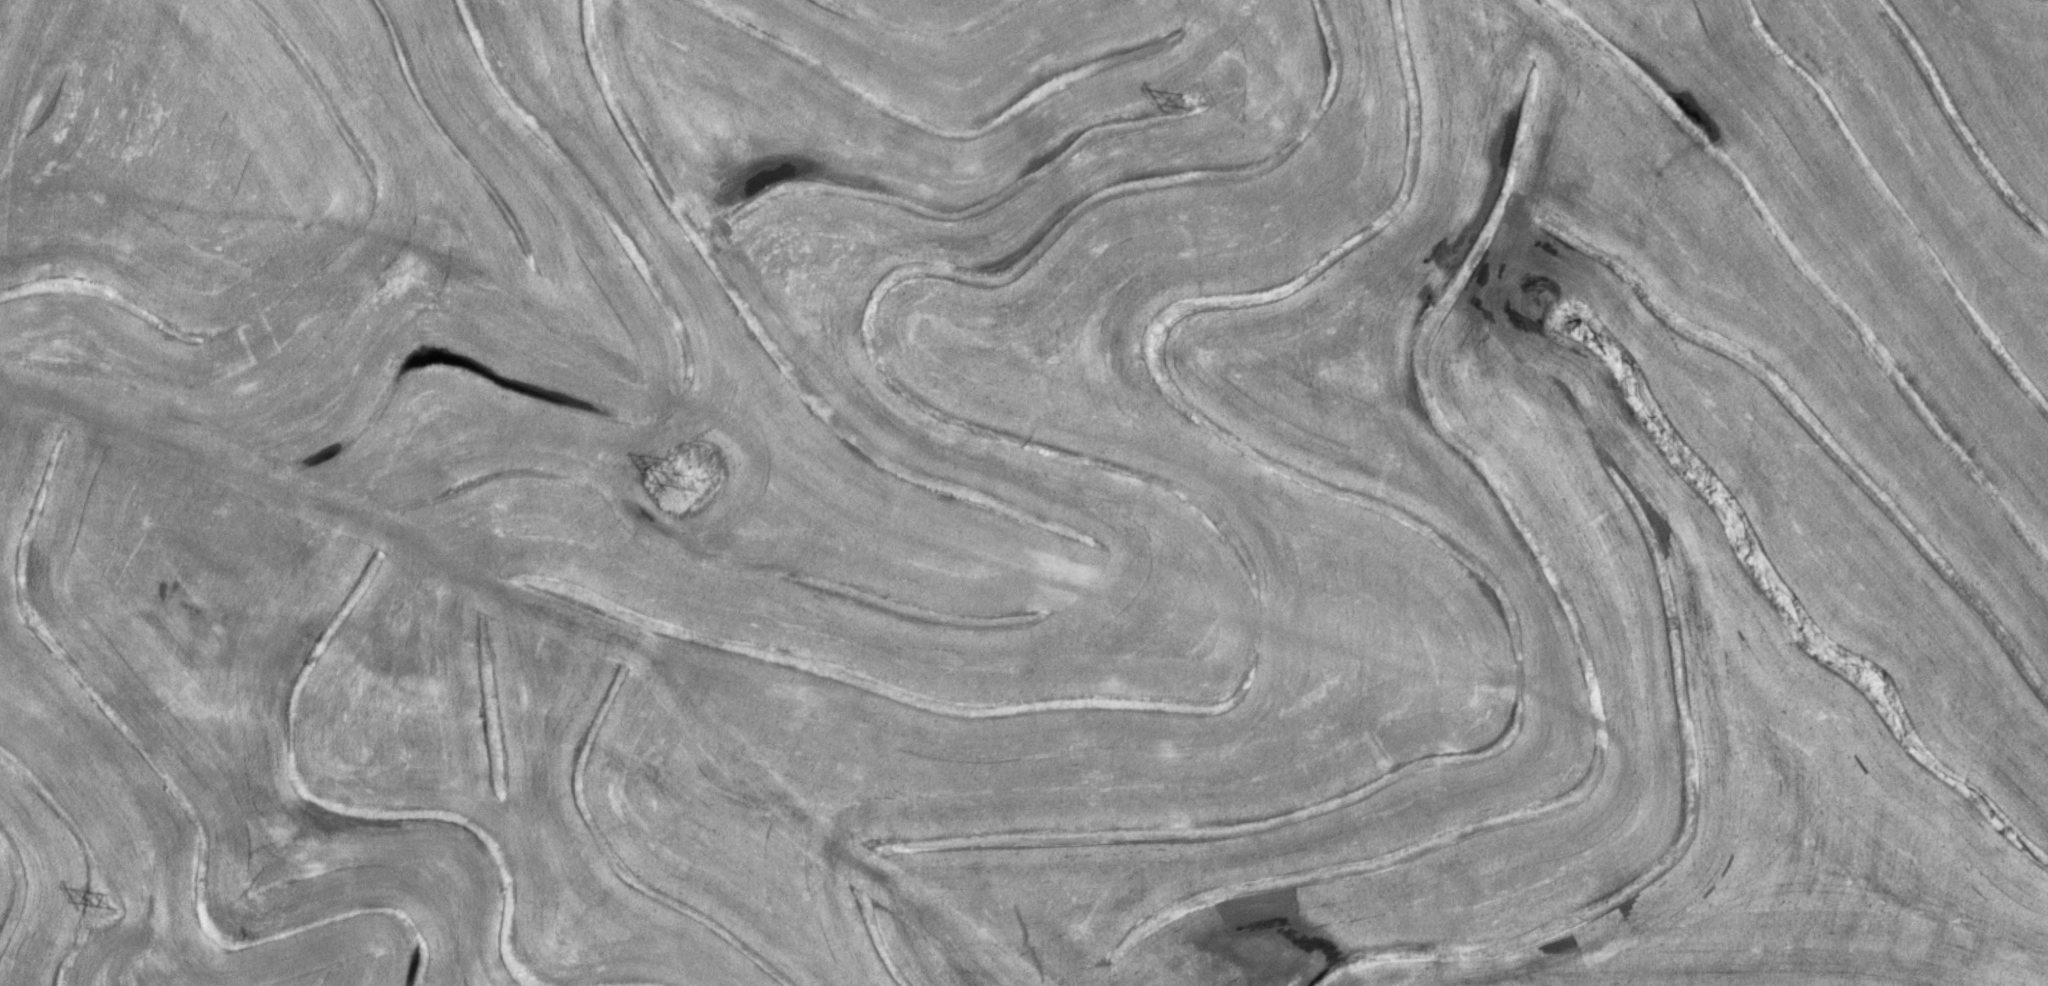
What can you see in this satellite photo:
power tower: (1185, 101)
power tower: (686, 472)
power tower: (109, 898)

